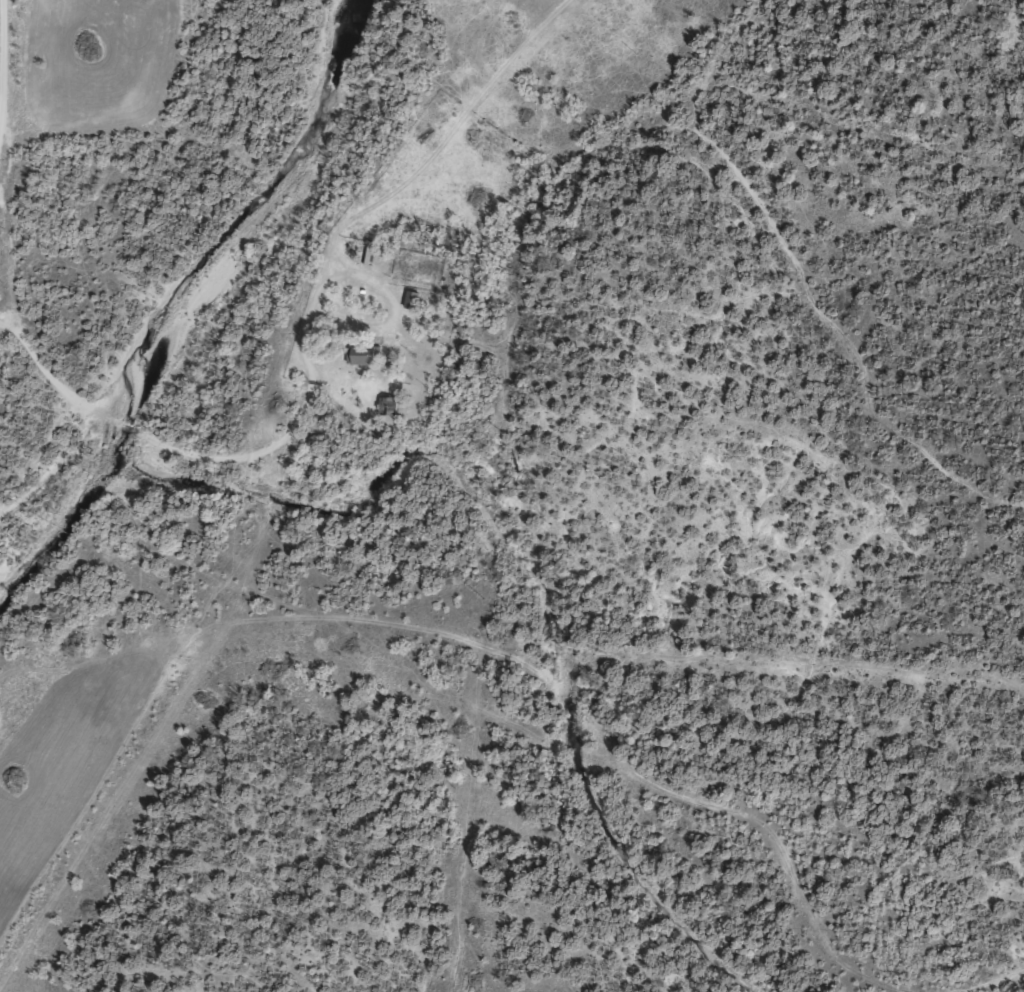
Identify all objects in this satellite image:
road: (2, 62)
road: (361, 196)
building: (412, 299)
road: (394, 315)
road: (471, 328)
building: (364, 354)
road: (431, 660)
road: (116, 784)
road: (1017, 989)

